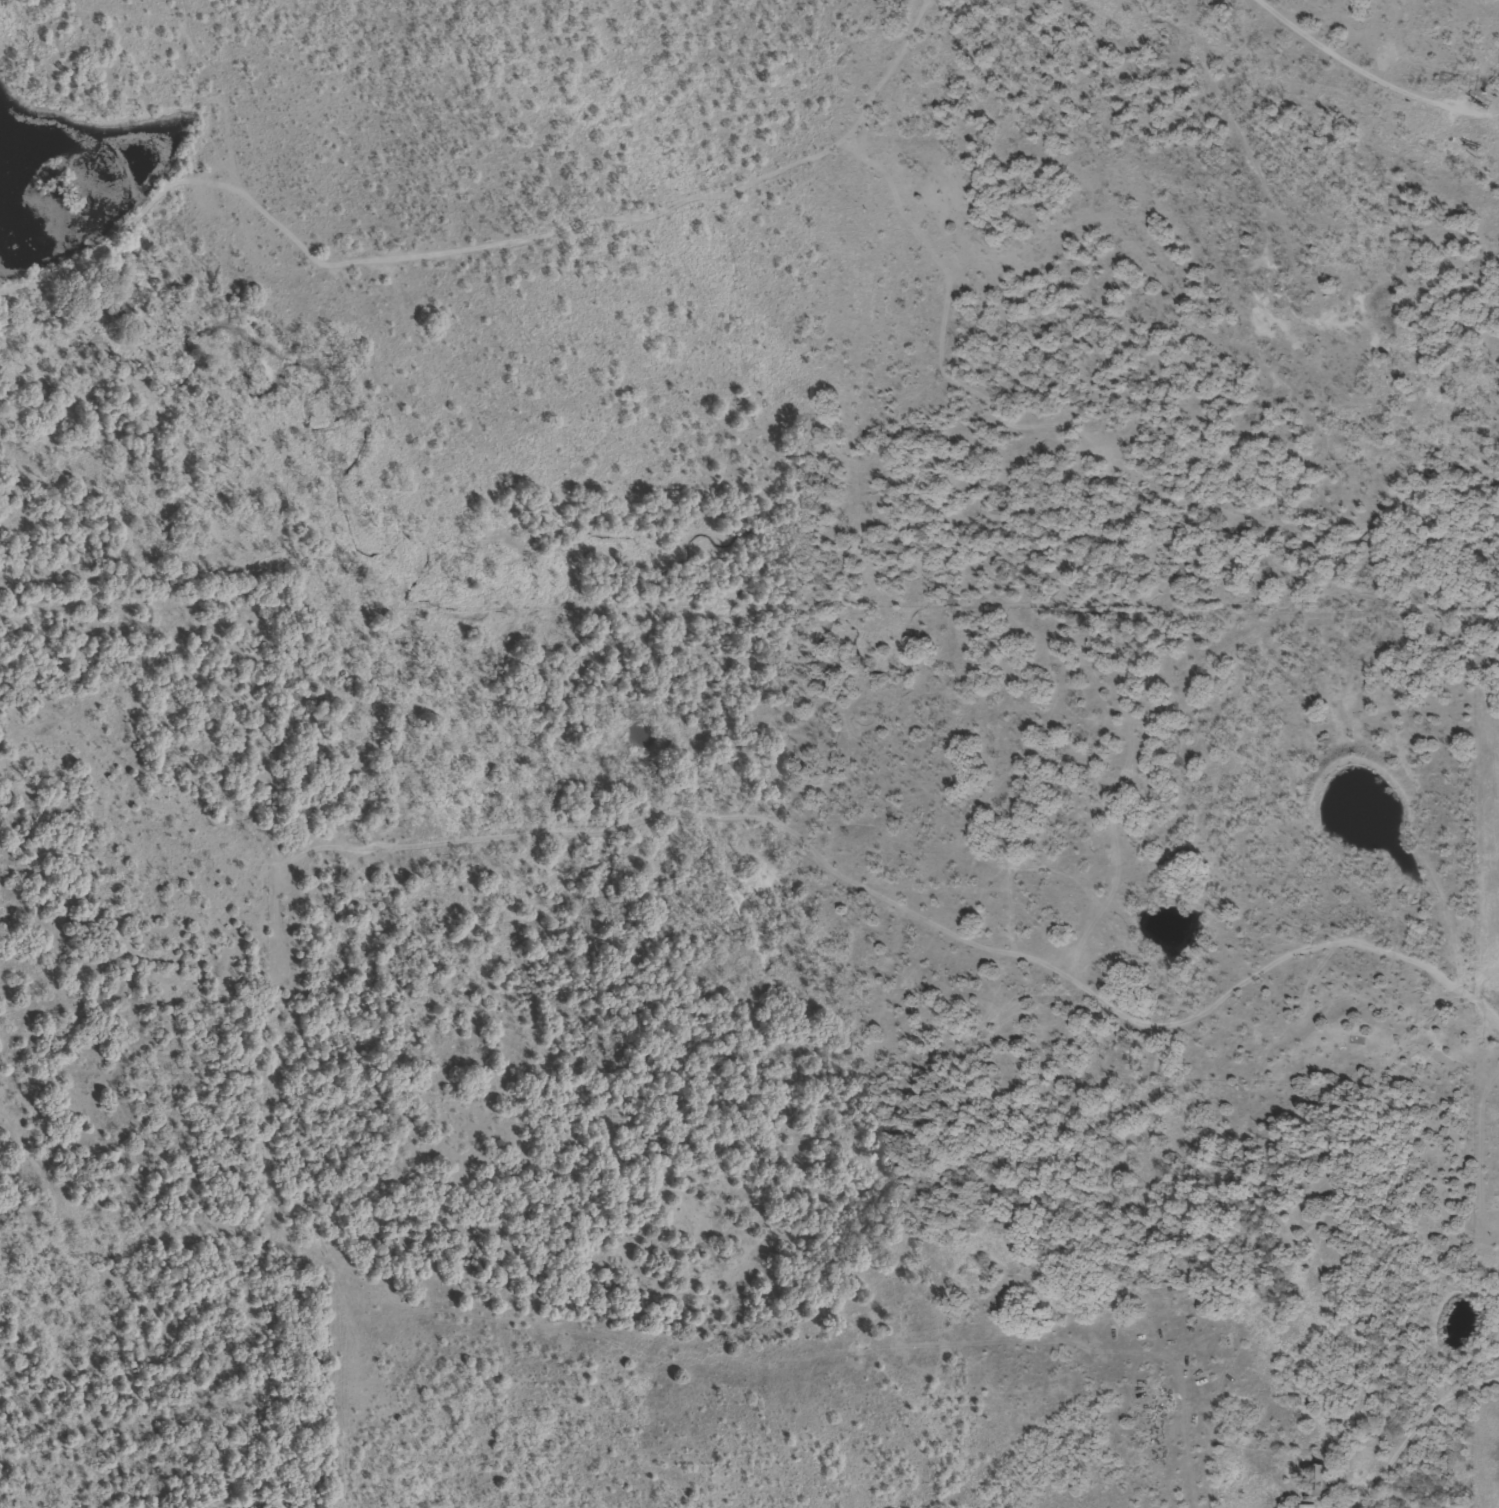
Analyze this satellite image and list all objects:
building: (1321, 1481)
building: (1306, 1507)

